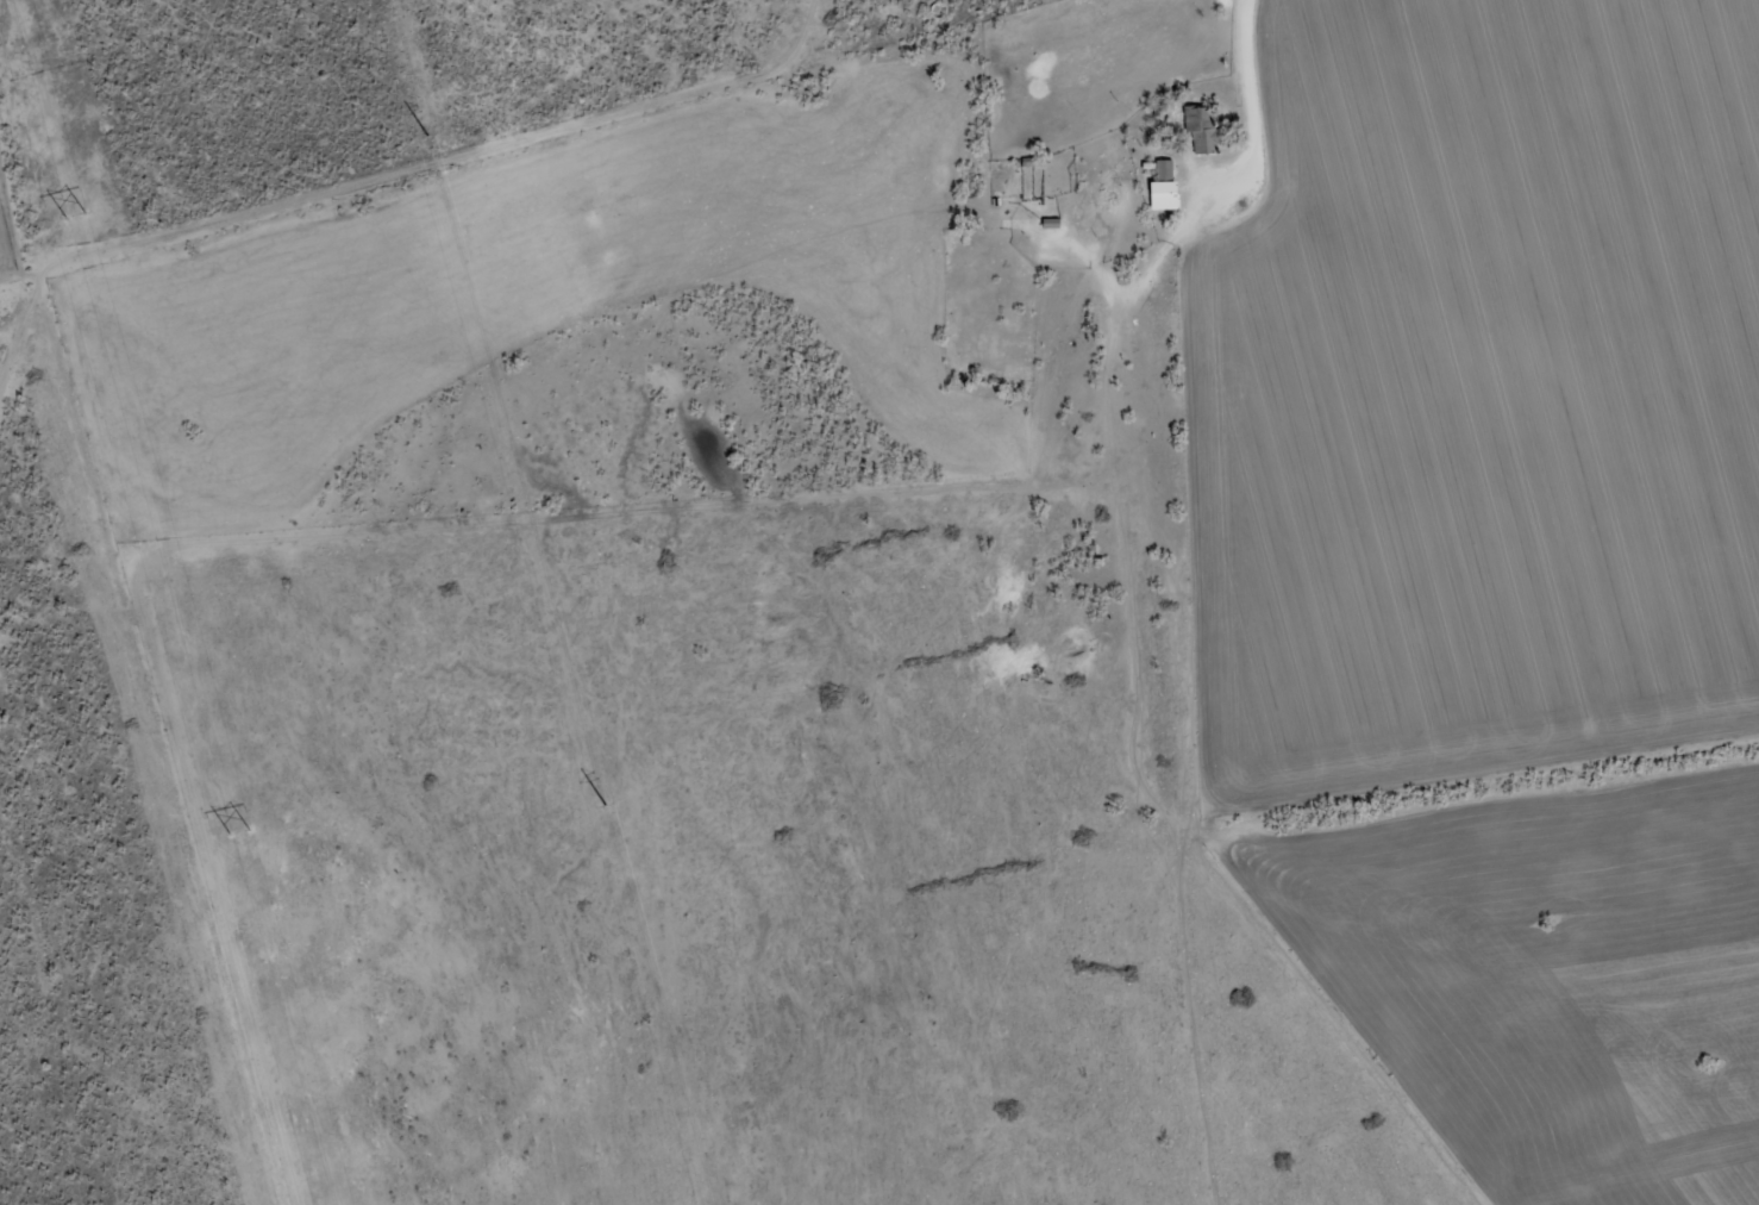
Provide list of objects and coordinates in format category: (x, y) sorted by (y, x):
road: (1262, 74)
building: (1201, 129)
power tower: (427, 136)
building: (1163, 176)
power tower: (81, 216)
building: (1096, 318)
road: (37, 426)
road: (232, 691)
power tower: (605, 805)
power tower: (243, 831)

